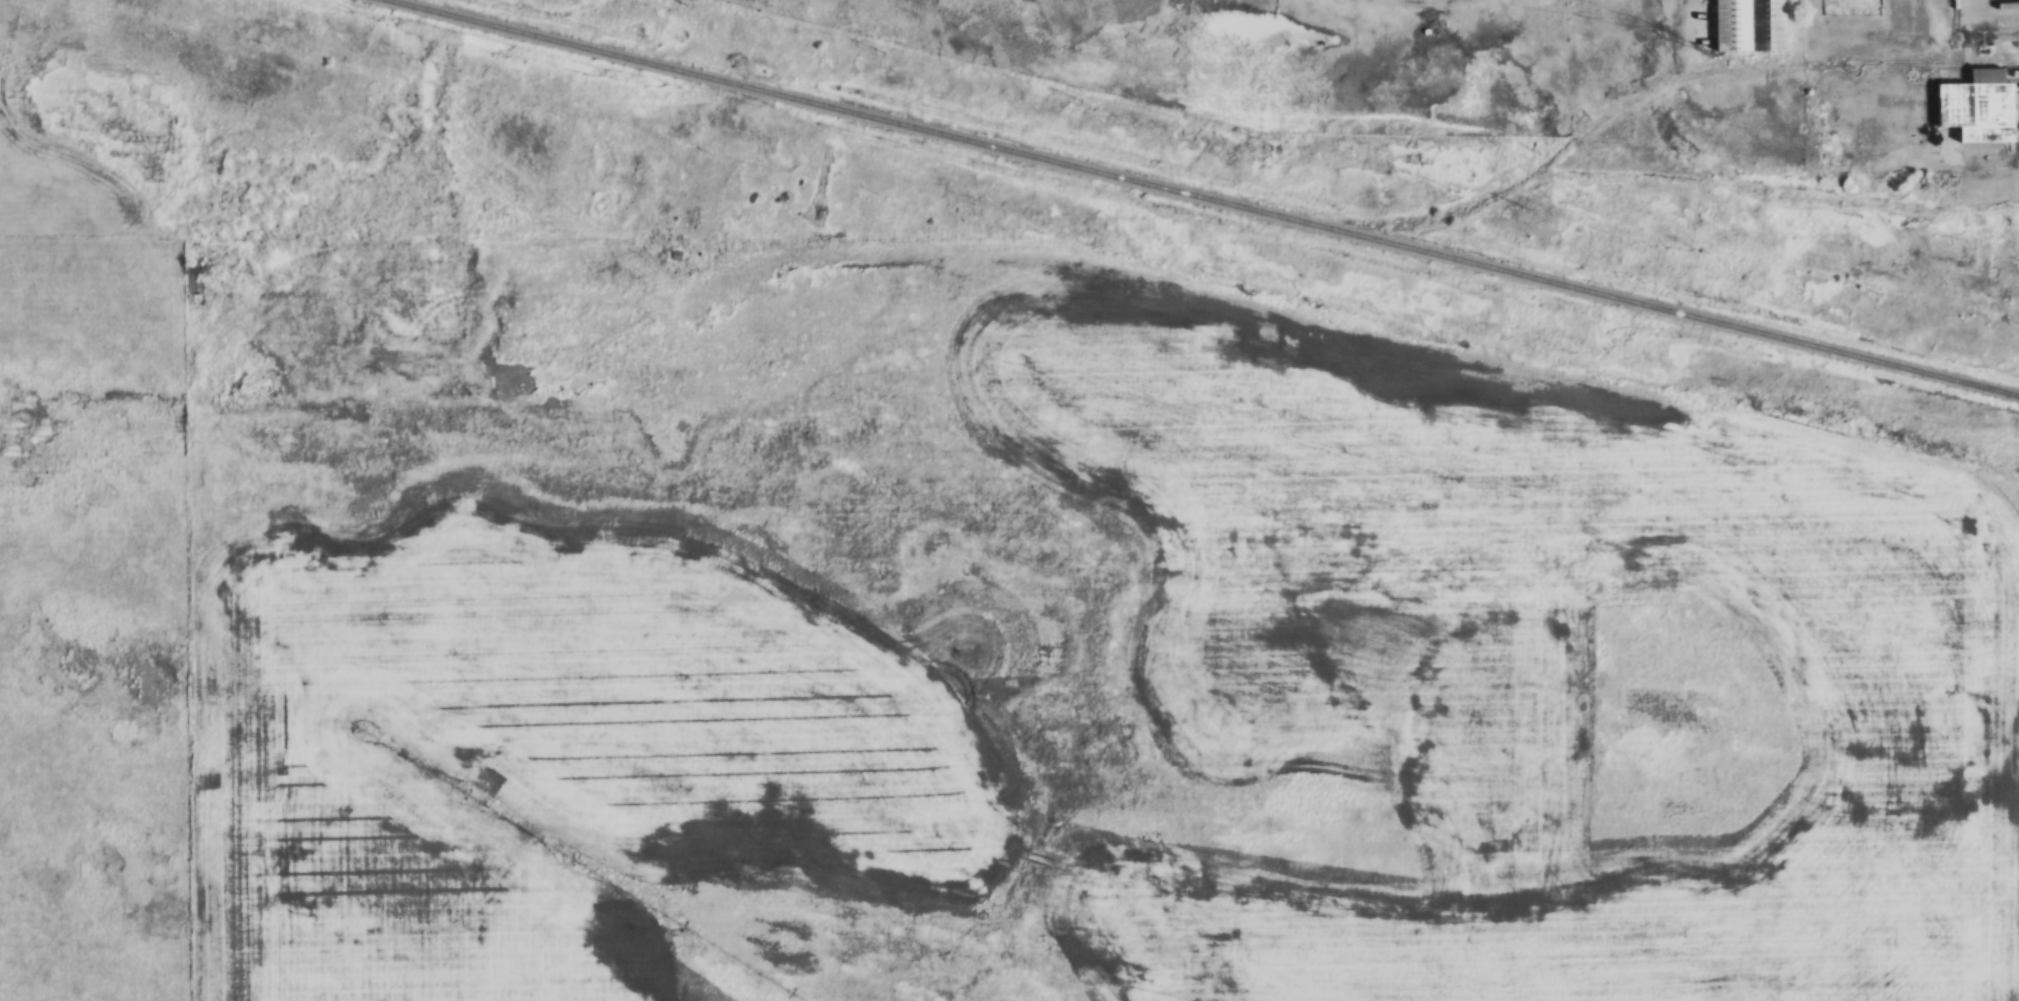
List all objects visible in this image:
road: (1429, 4)
road: (1977, 4)
road: (1999, 8)
building: (1745, 26)
building: (1960, 110)
railway: (1202, 197)

